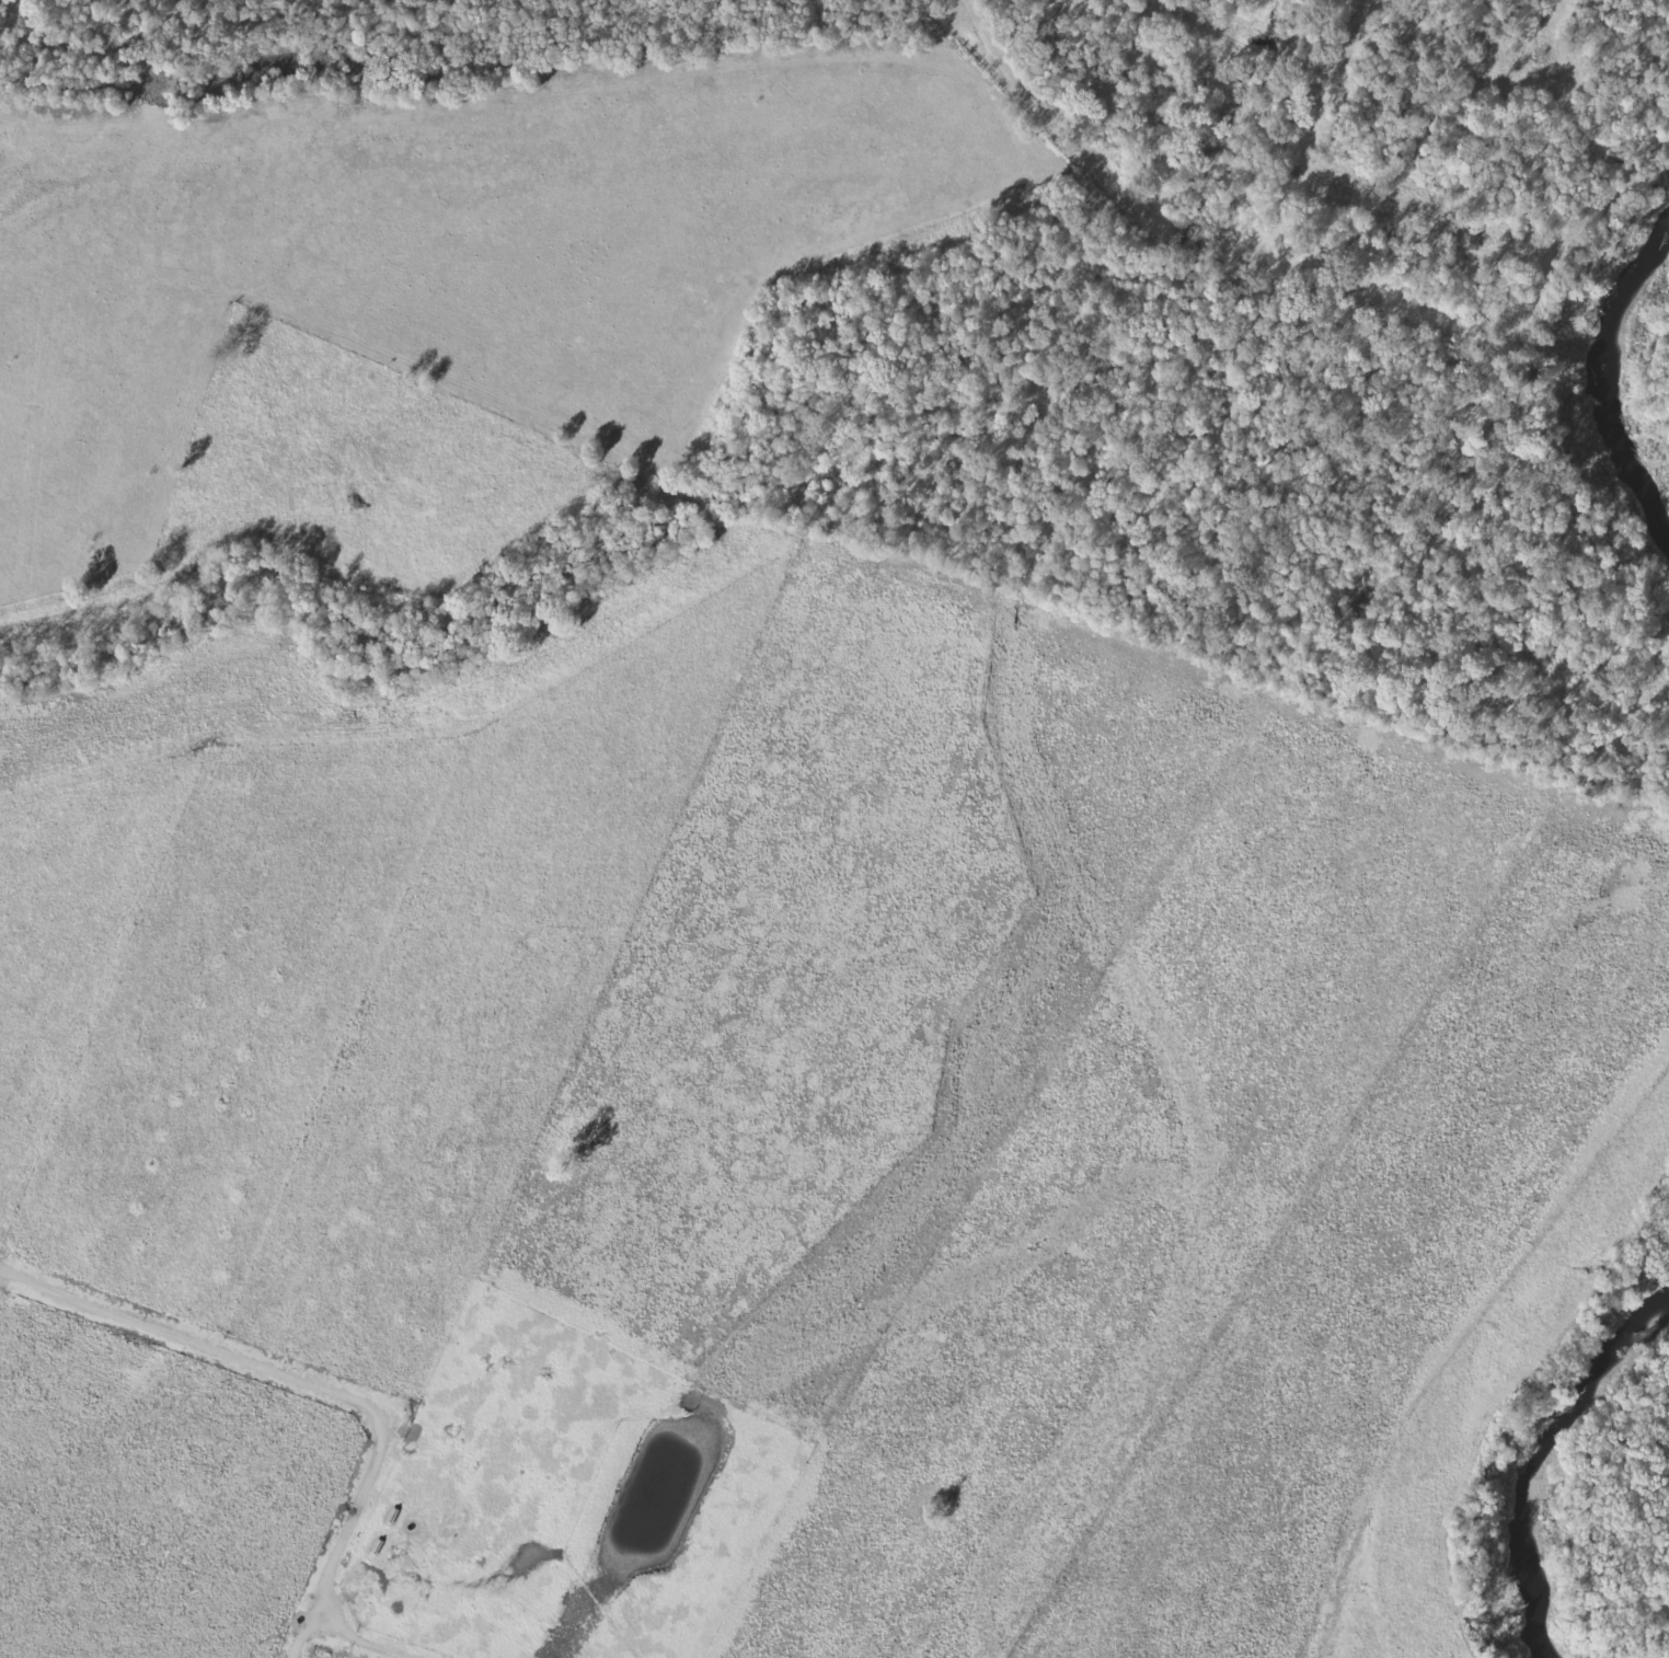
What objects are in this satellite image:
river: (1611, 400)
river: (1544, 1469)

